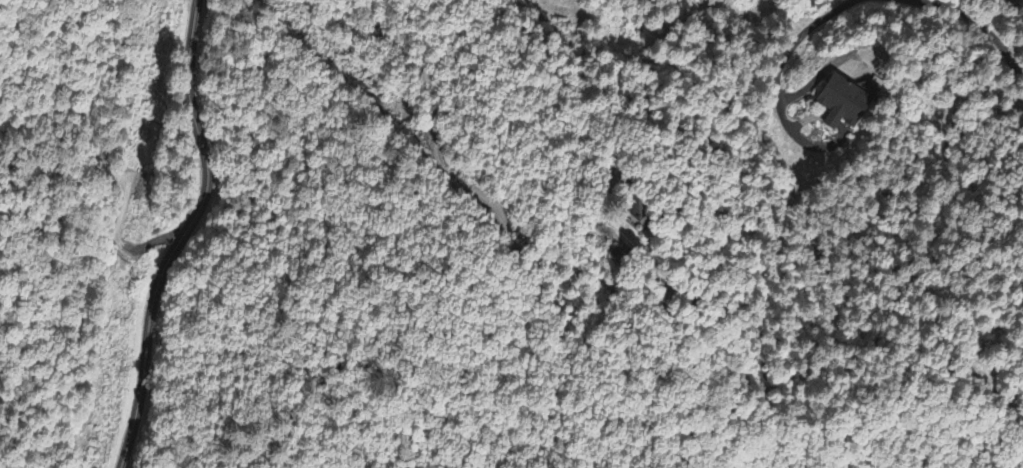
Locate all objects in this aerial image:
road: (1017, 8)
building: (848, 103)
road: (176, 234)

